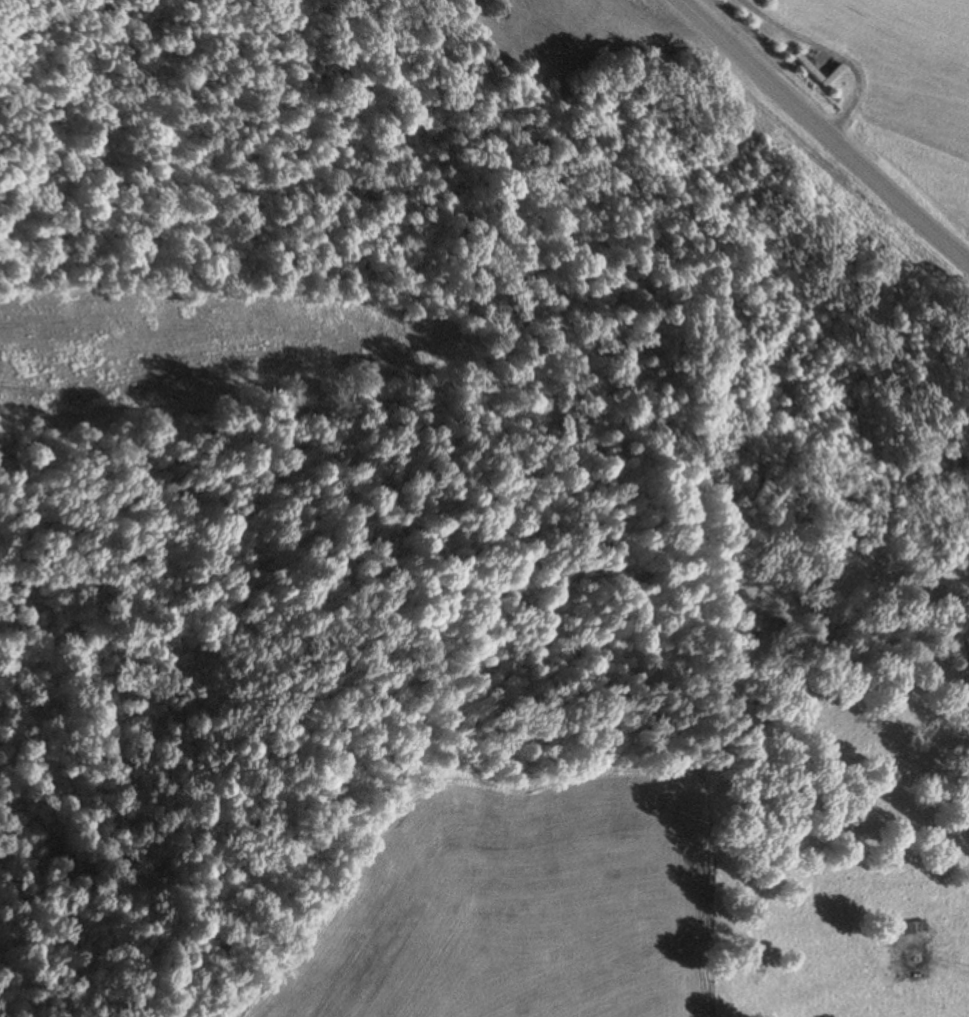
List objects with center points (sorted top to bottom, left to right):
road: (824, 133)
building: (904, 930)

